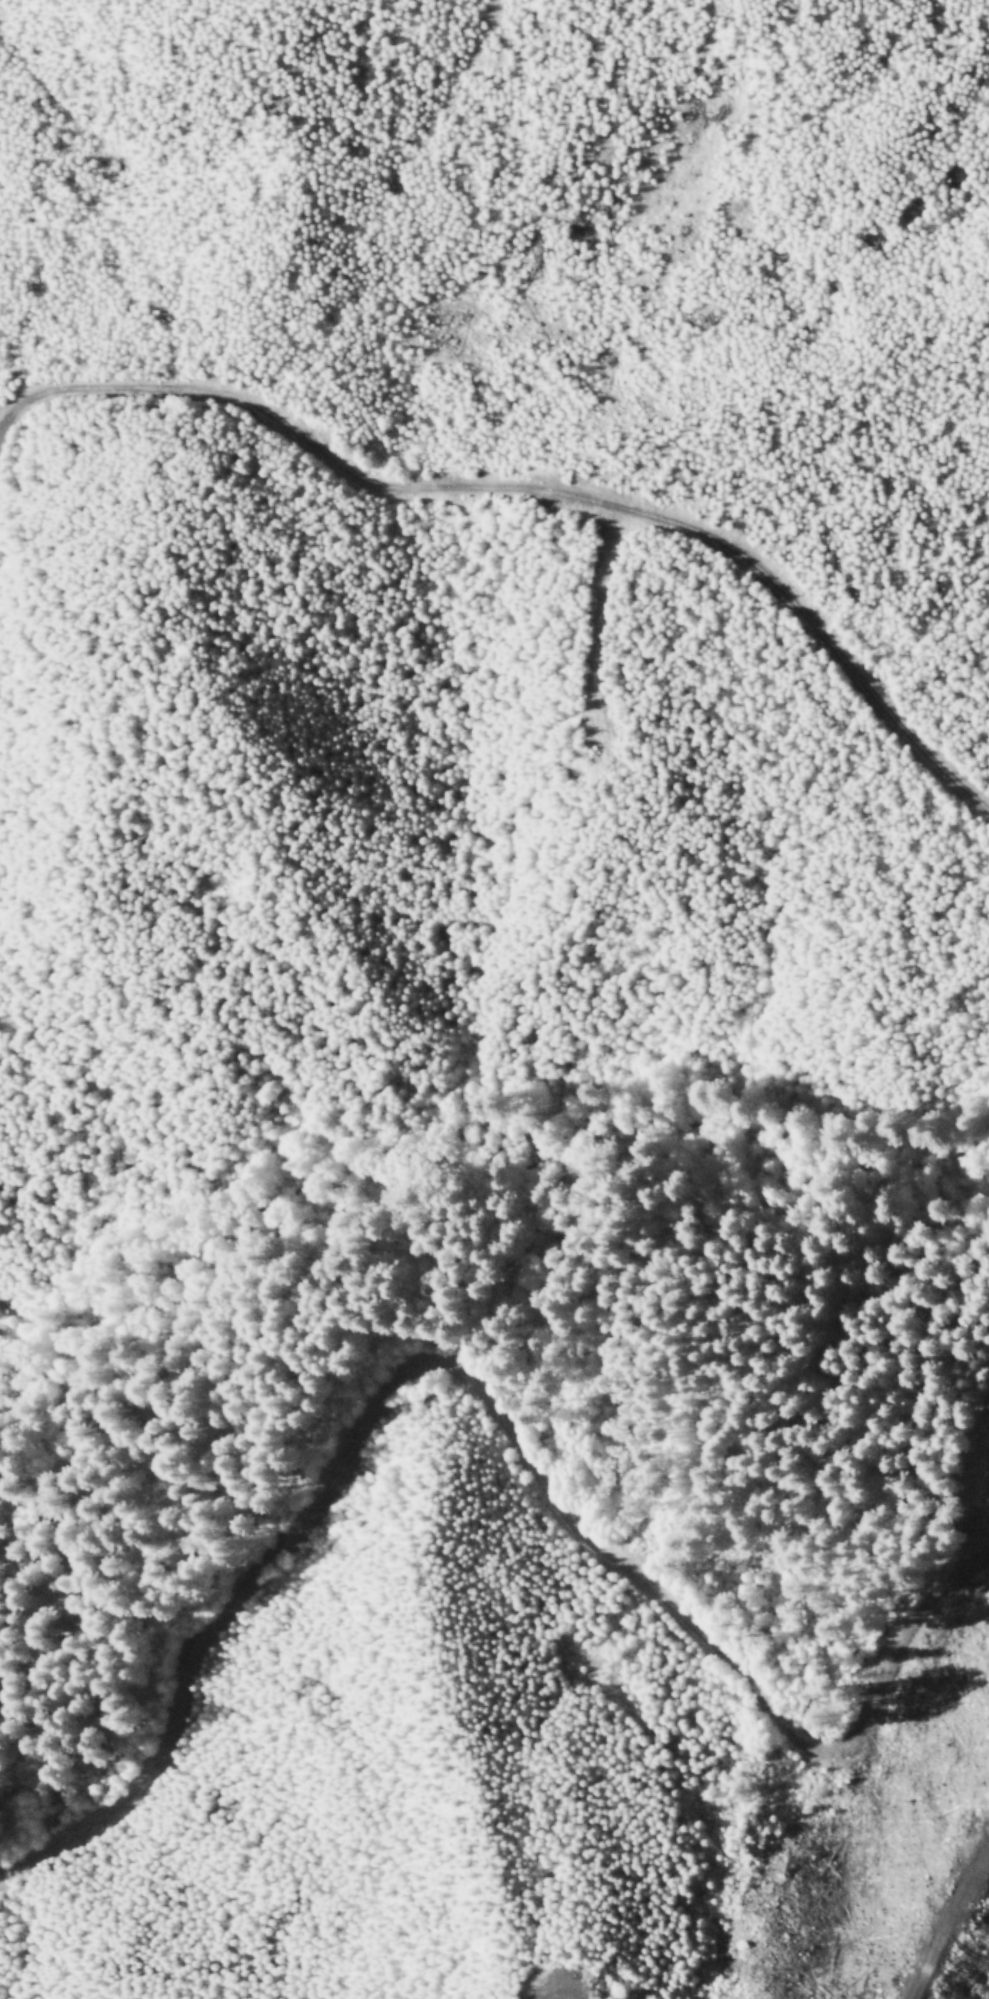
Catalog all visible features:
road: (535, 484)
road: (492, 1394)

